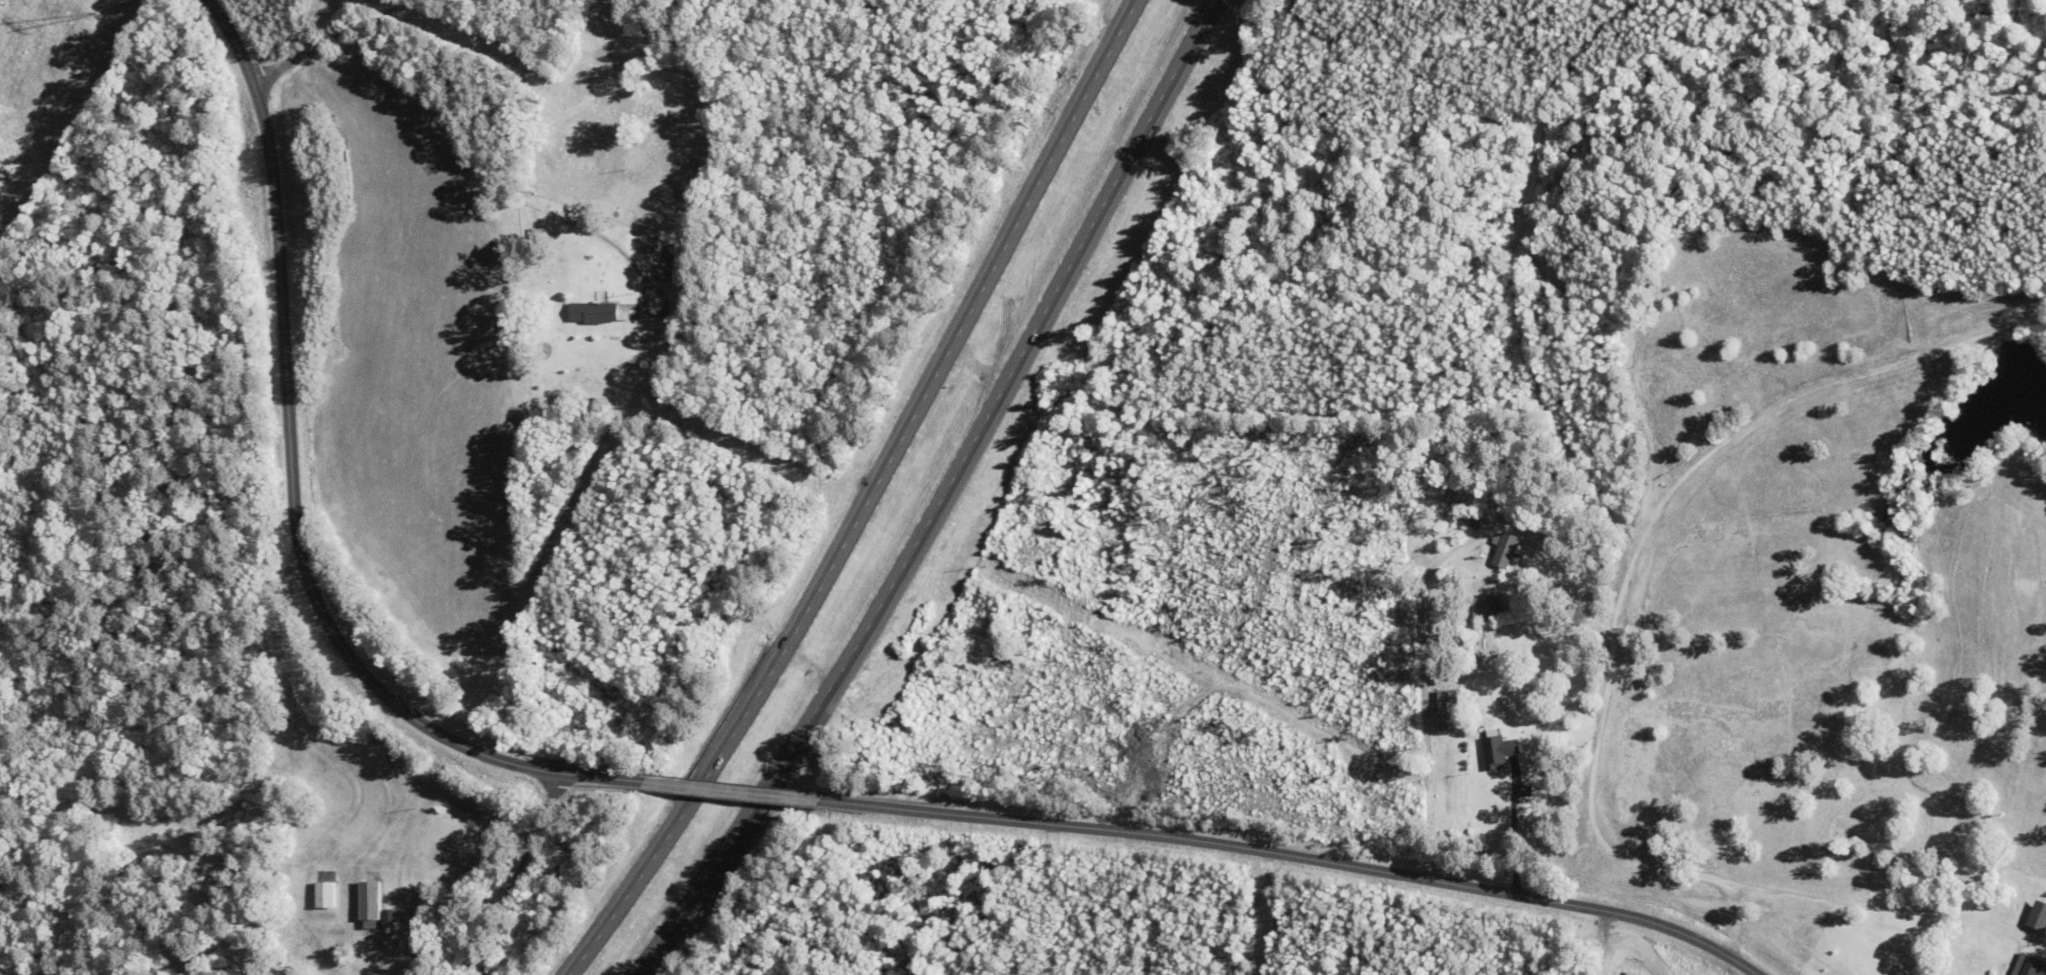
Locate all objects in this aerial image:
power tower: (99, 12)
road: (330, 39)
road: (476, 175)
building: (650, 245)
building: (664, 271)
building: (598, 313)
road: (293, 491)
road: (866, 495)
road: (940, 497)
building: (1507, 549)
building: (1486, 607)
road: (1406, 682)
building: (1449, 710)
building: (1499, 751)
road: (739, 791)
road: (1303, 857)
road: (513, 876)
building: (326, 887)
building: (375, 906)
building: (2038, 915)
building: (2034, 966)
building: (1630, 973)

